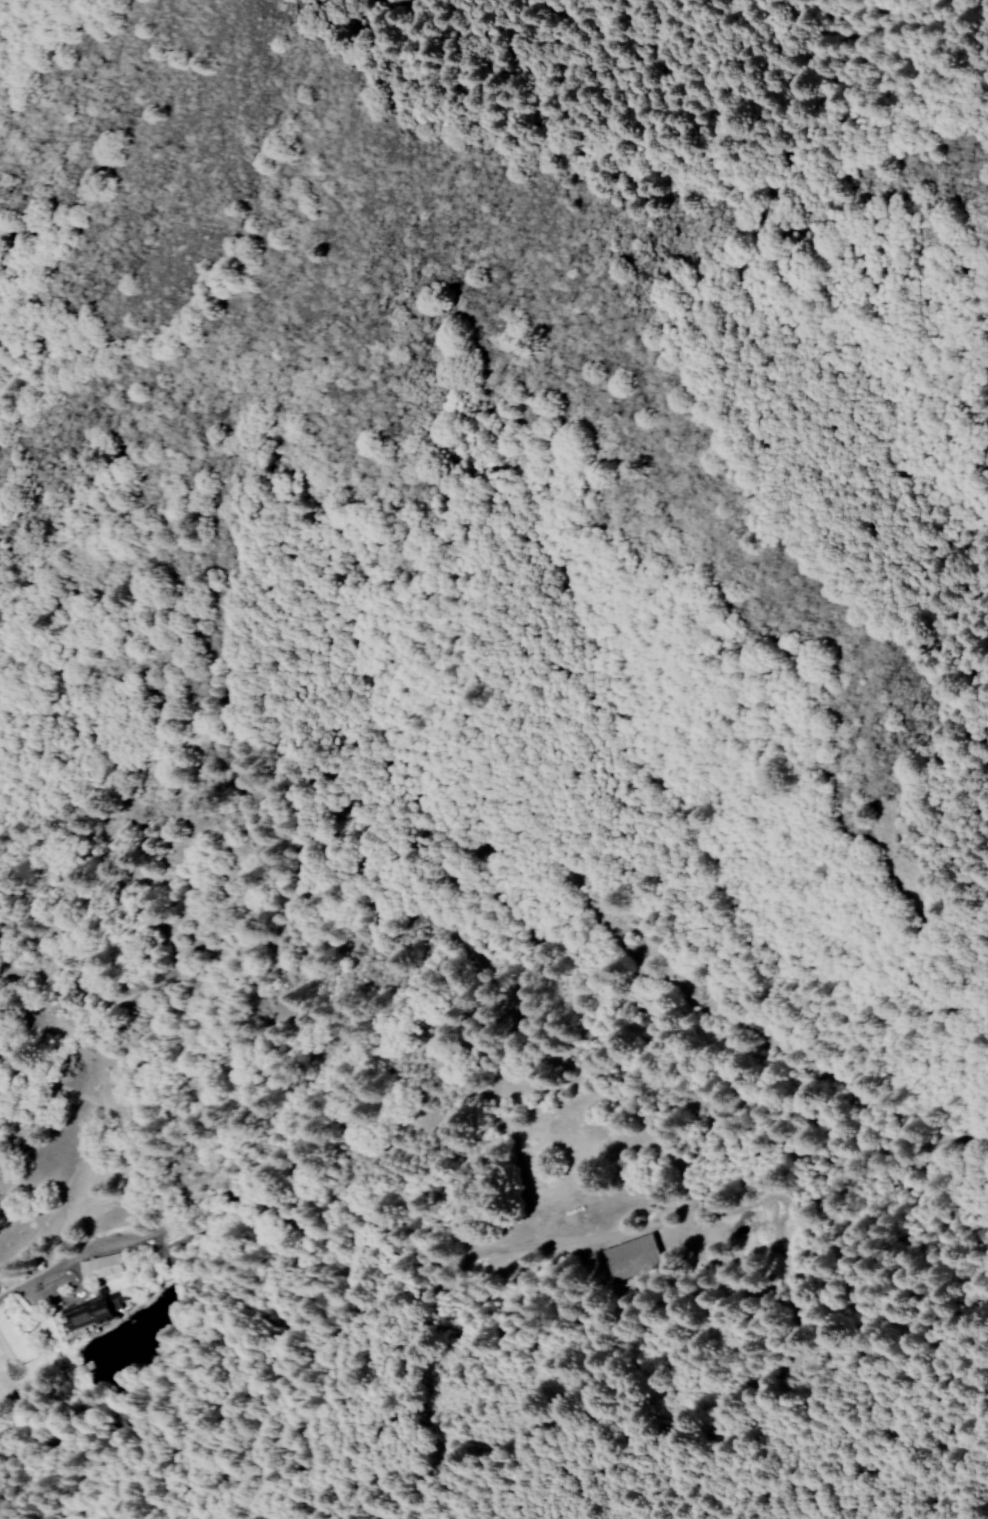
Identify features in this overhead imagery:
building: (634, 1258)
building: (101, 1267)
road: (481, 1283)
building: (93, 1312)

